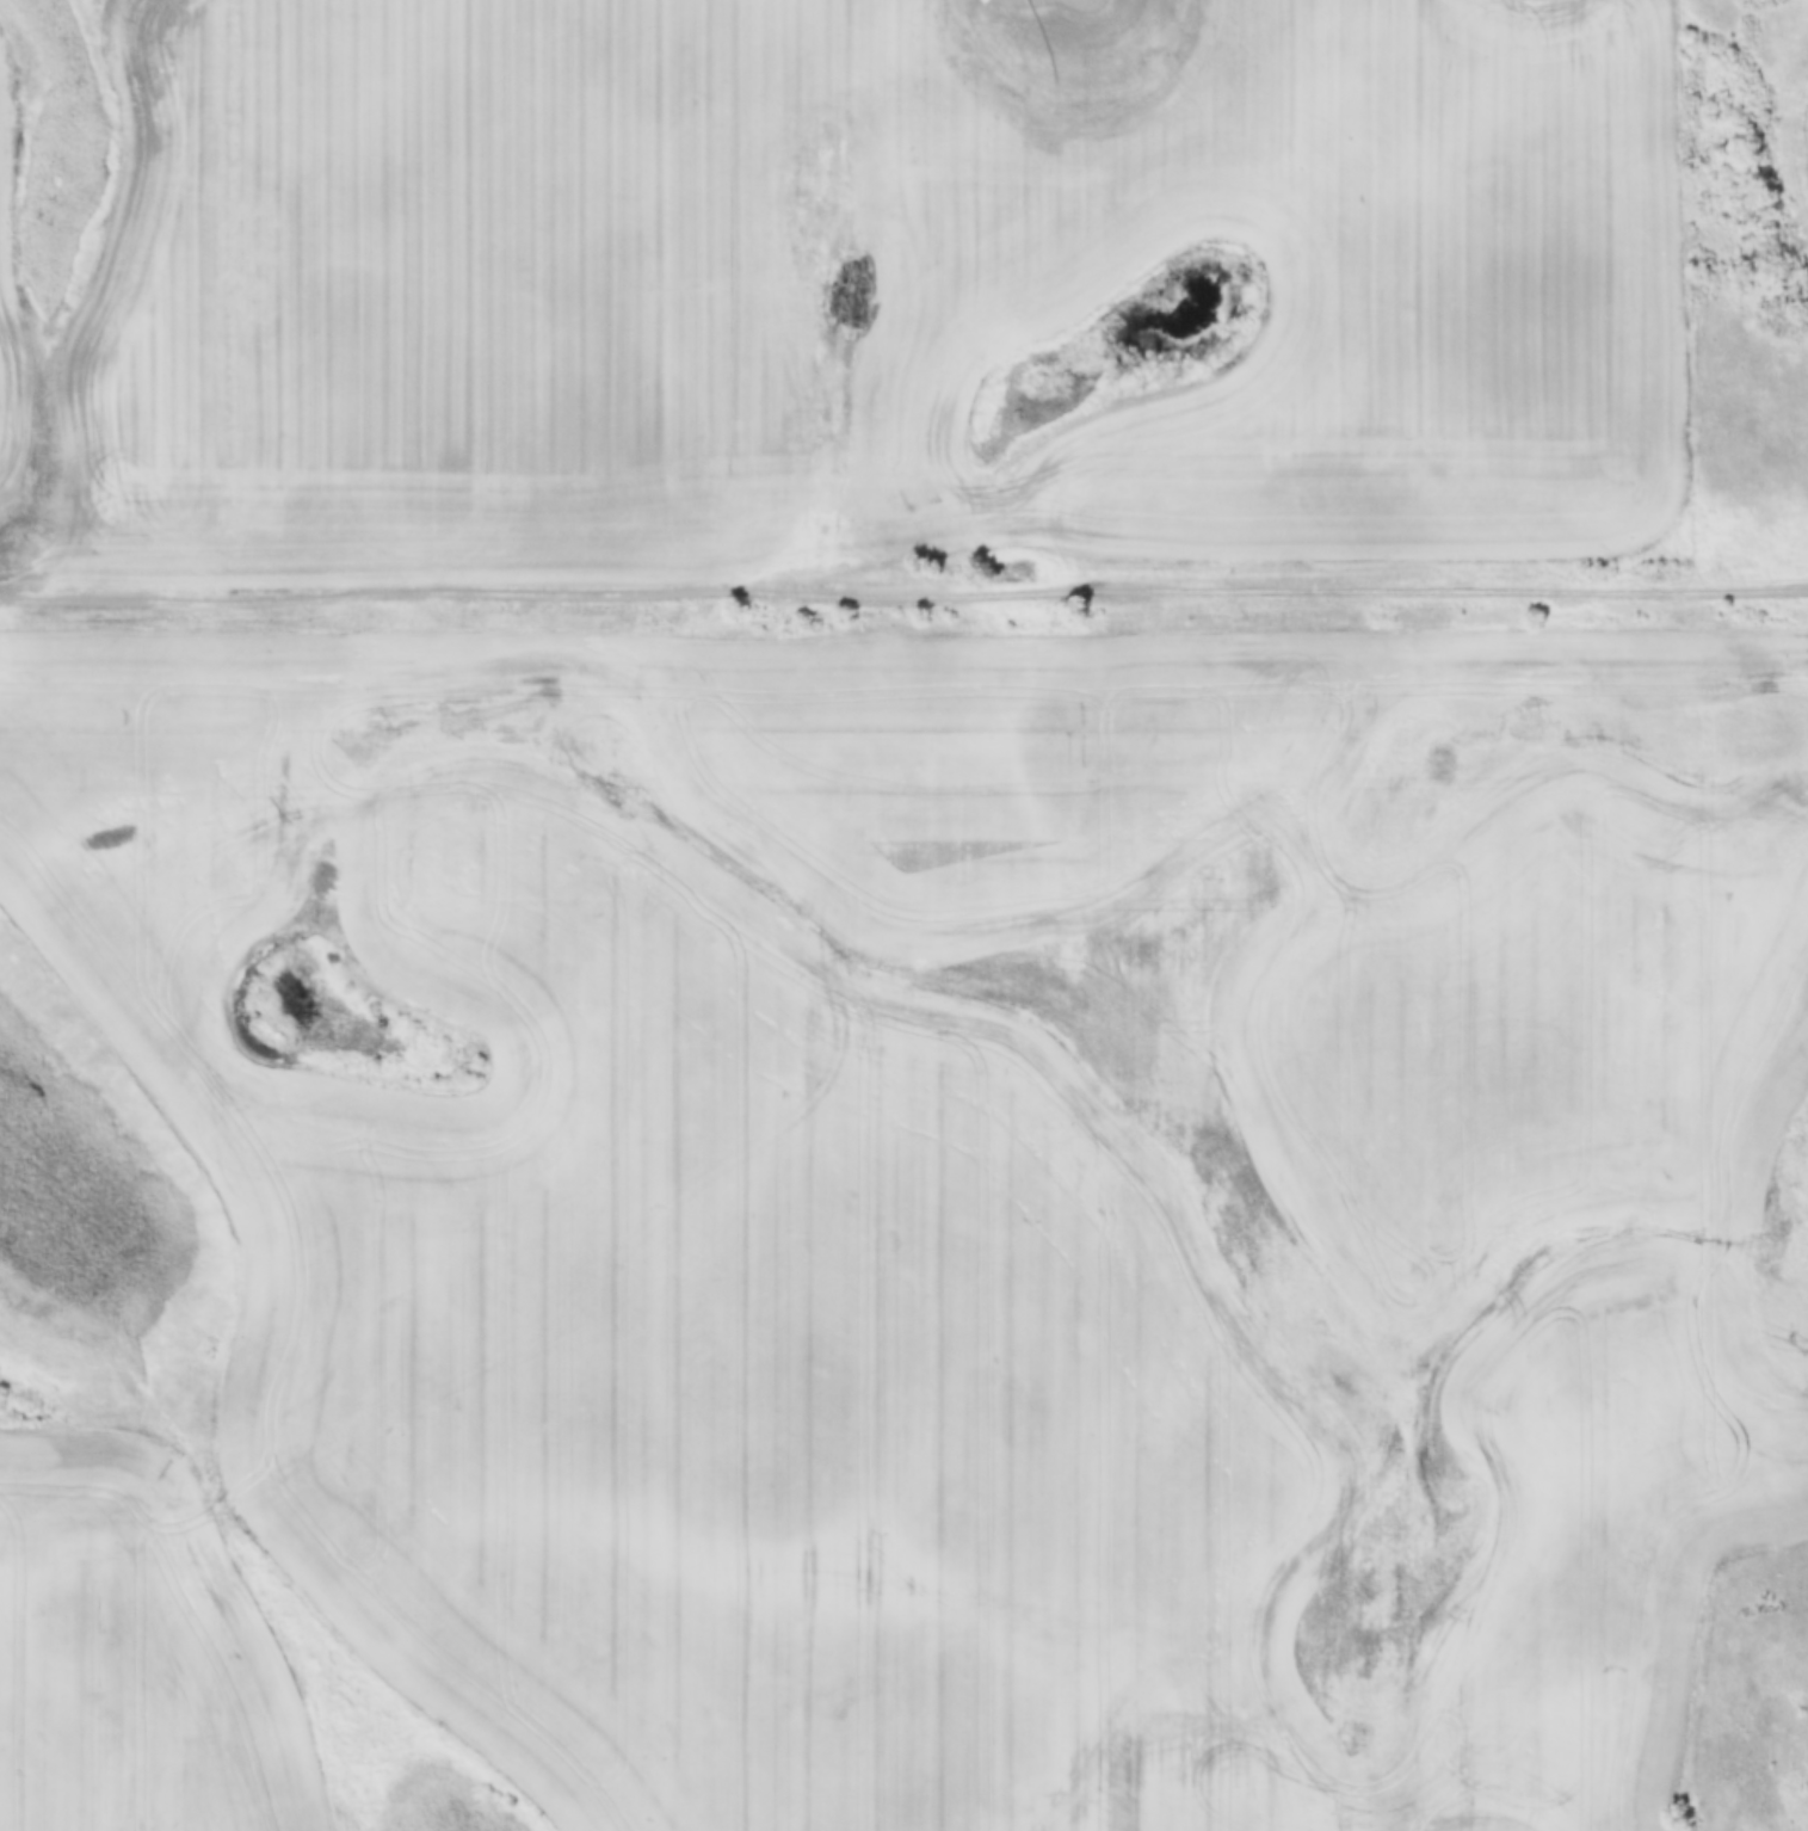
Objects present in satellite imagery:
road: (903, 590)

